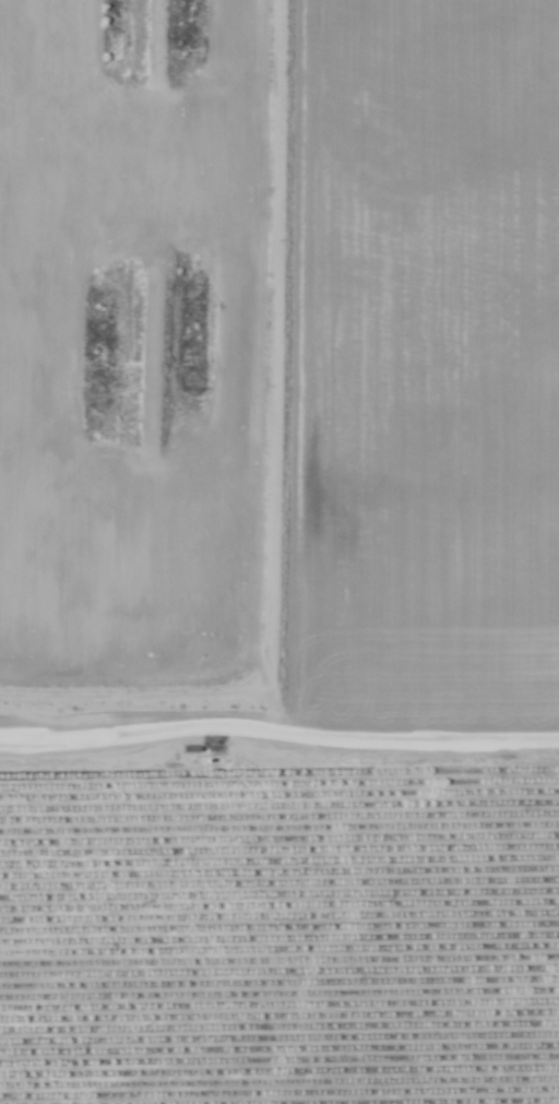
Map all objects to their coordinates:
road: (279, 732)

